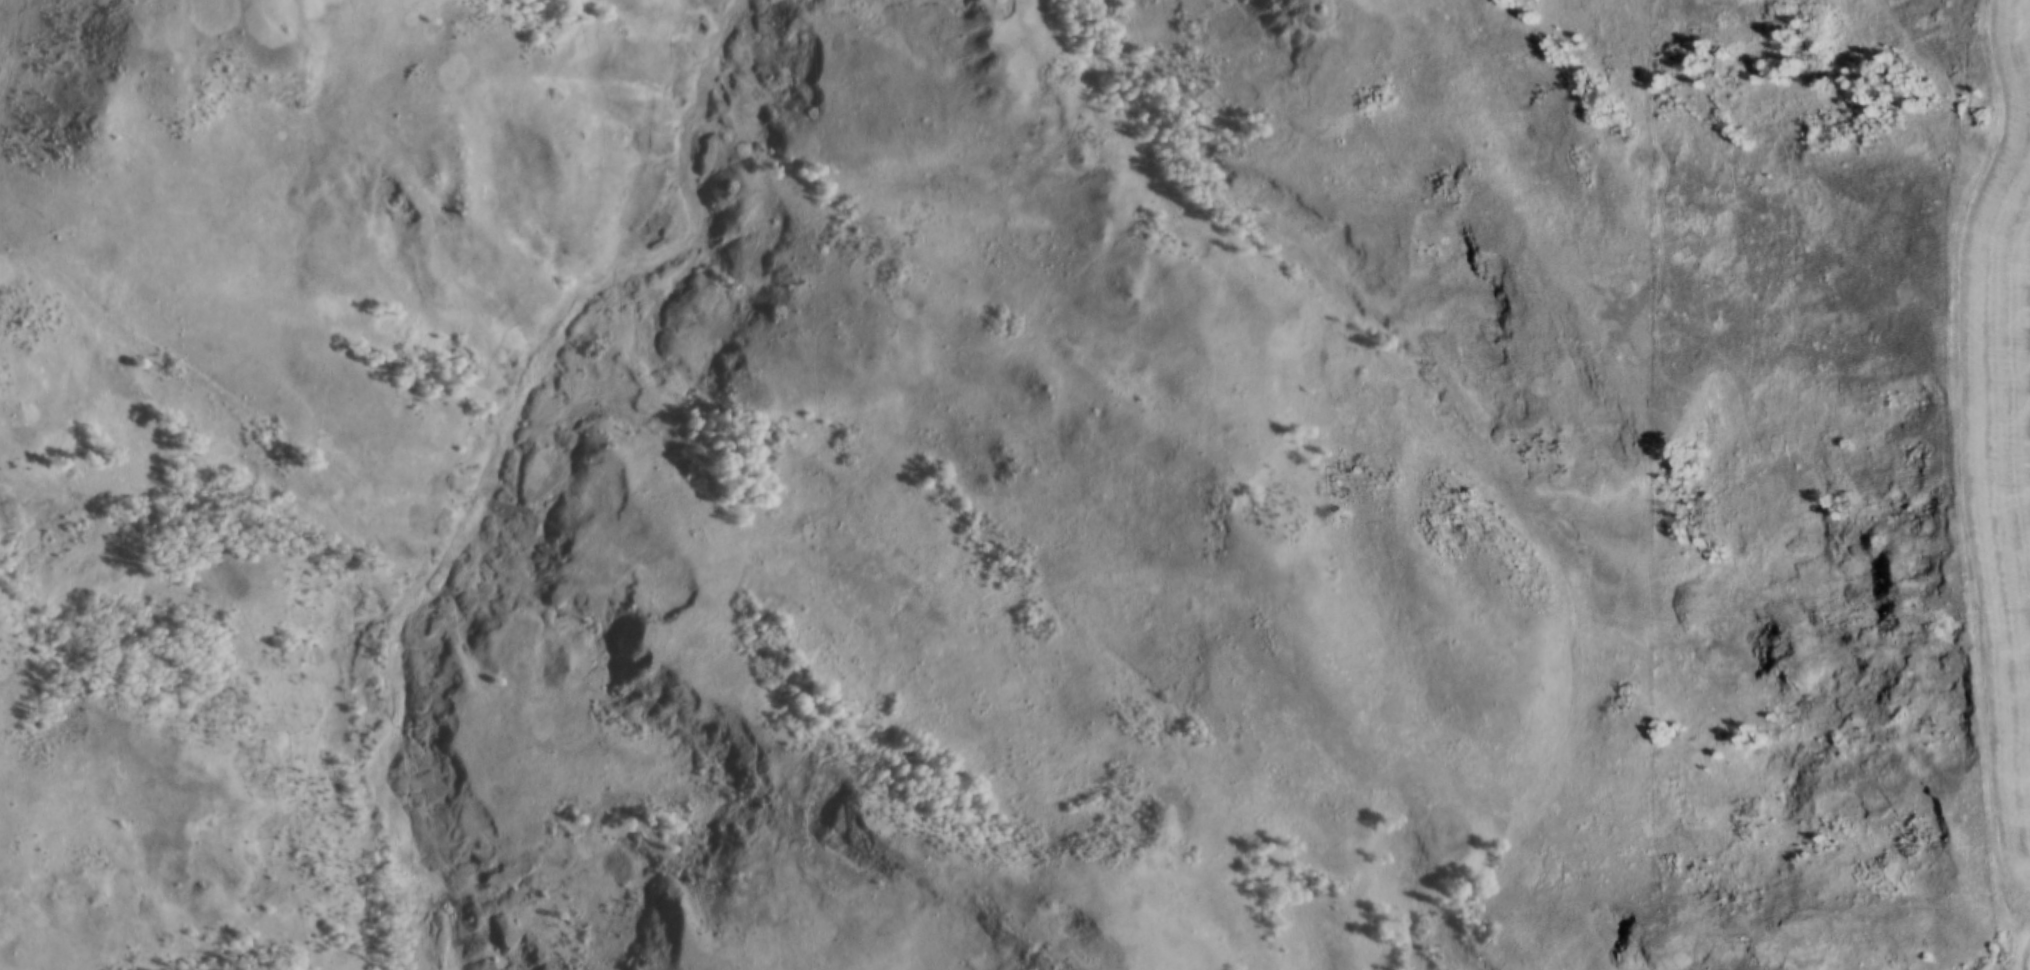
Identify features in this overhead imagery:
road: (1964, 484)

